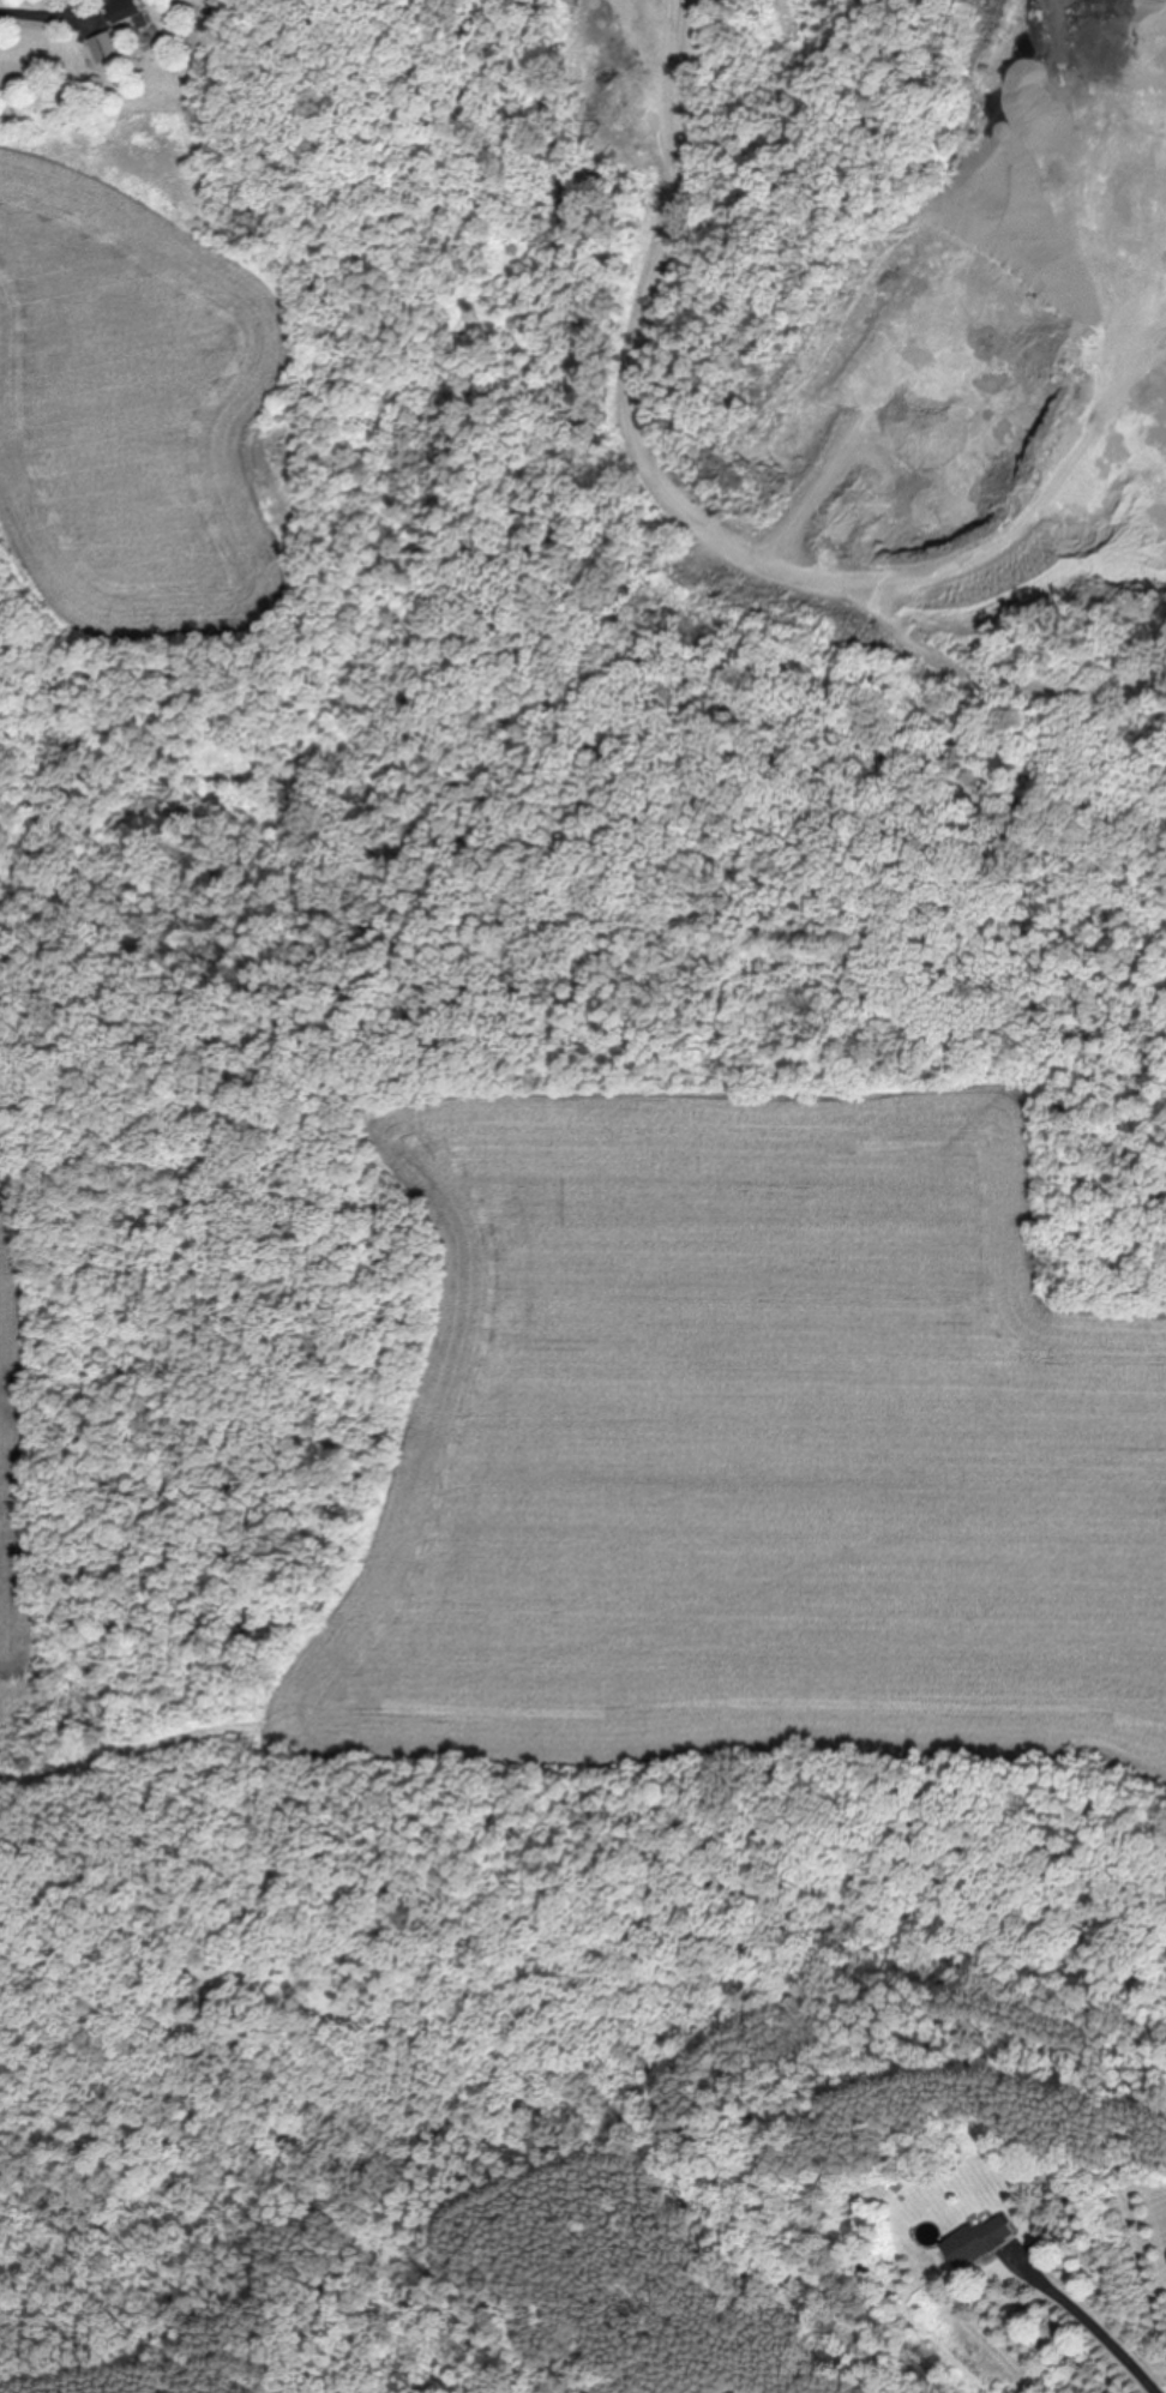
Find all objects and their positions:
road: (50, 4)
building: (131, 11)
building: (103, 47)
quarry: (763, 542)
crop: (752, 1435)
crop: (11, 1461)
building: (981, 2239)
road: (1092, 2327)

